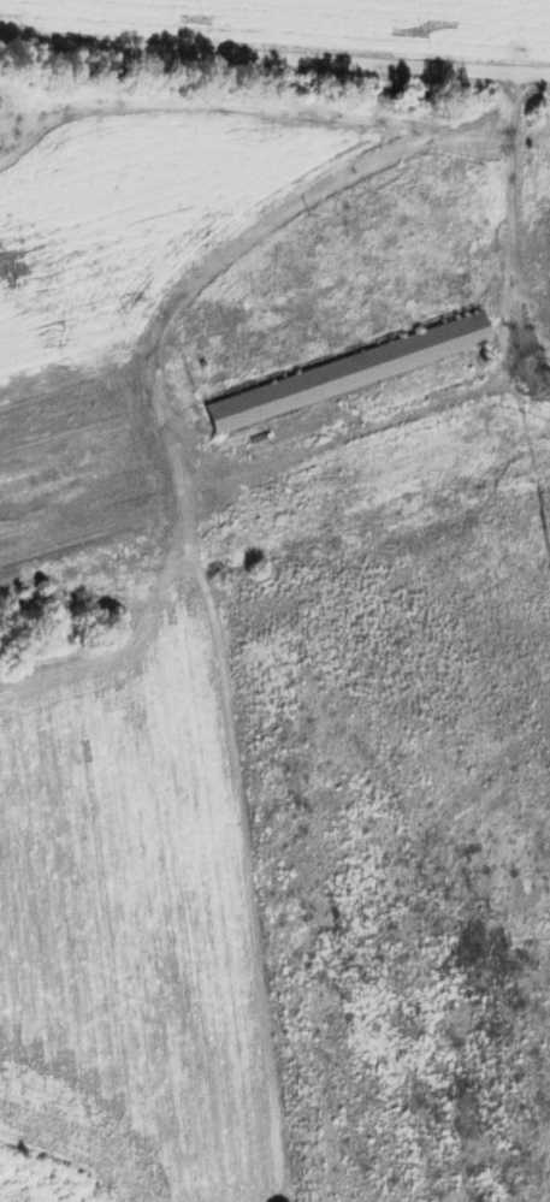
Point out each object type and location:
road: (400, 30)
road: (274, 48)
building: (201, 327)
road: (168, 334)
building: (348, 373)
building: (77, 521)

